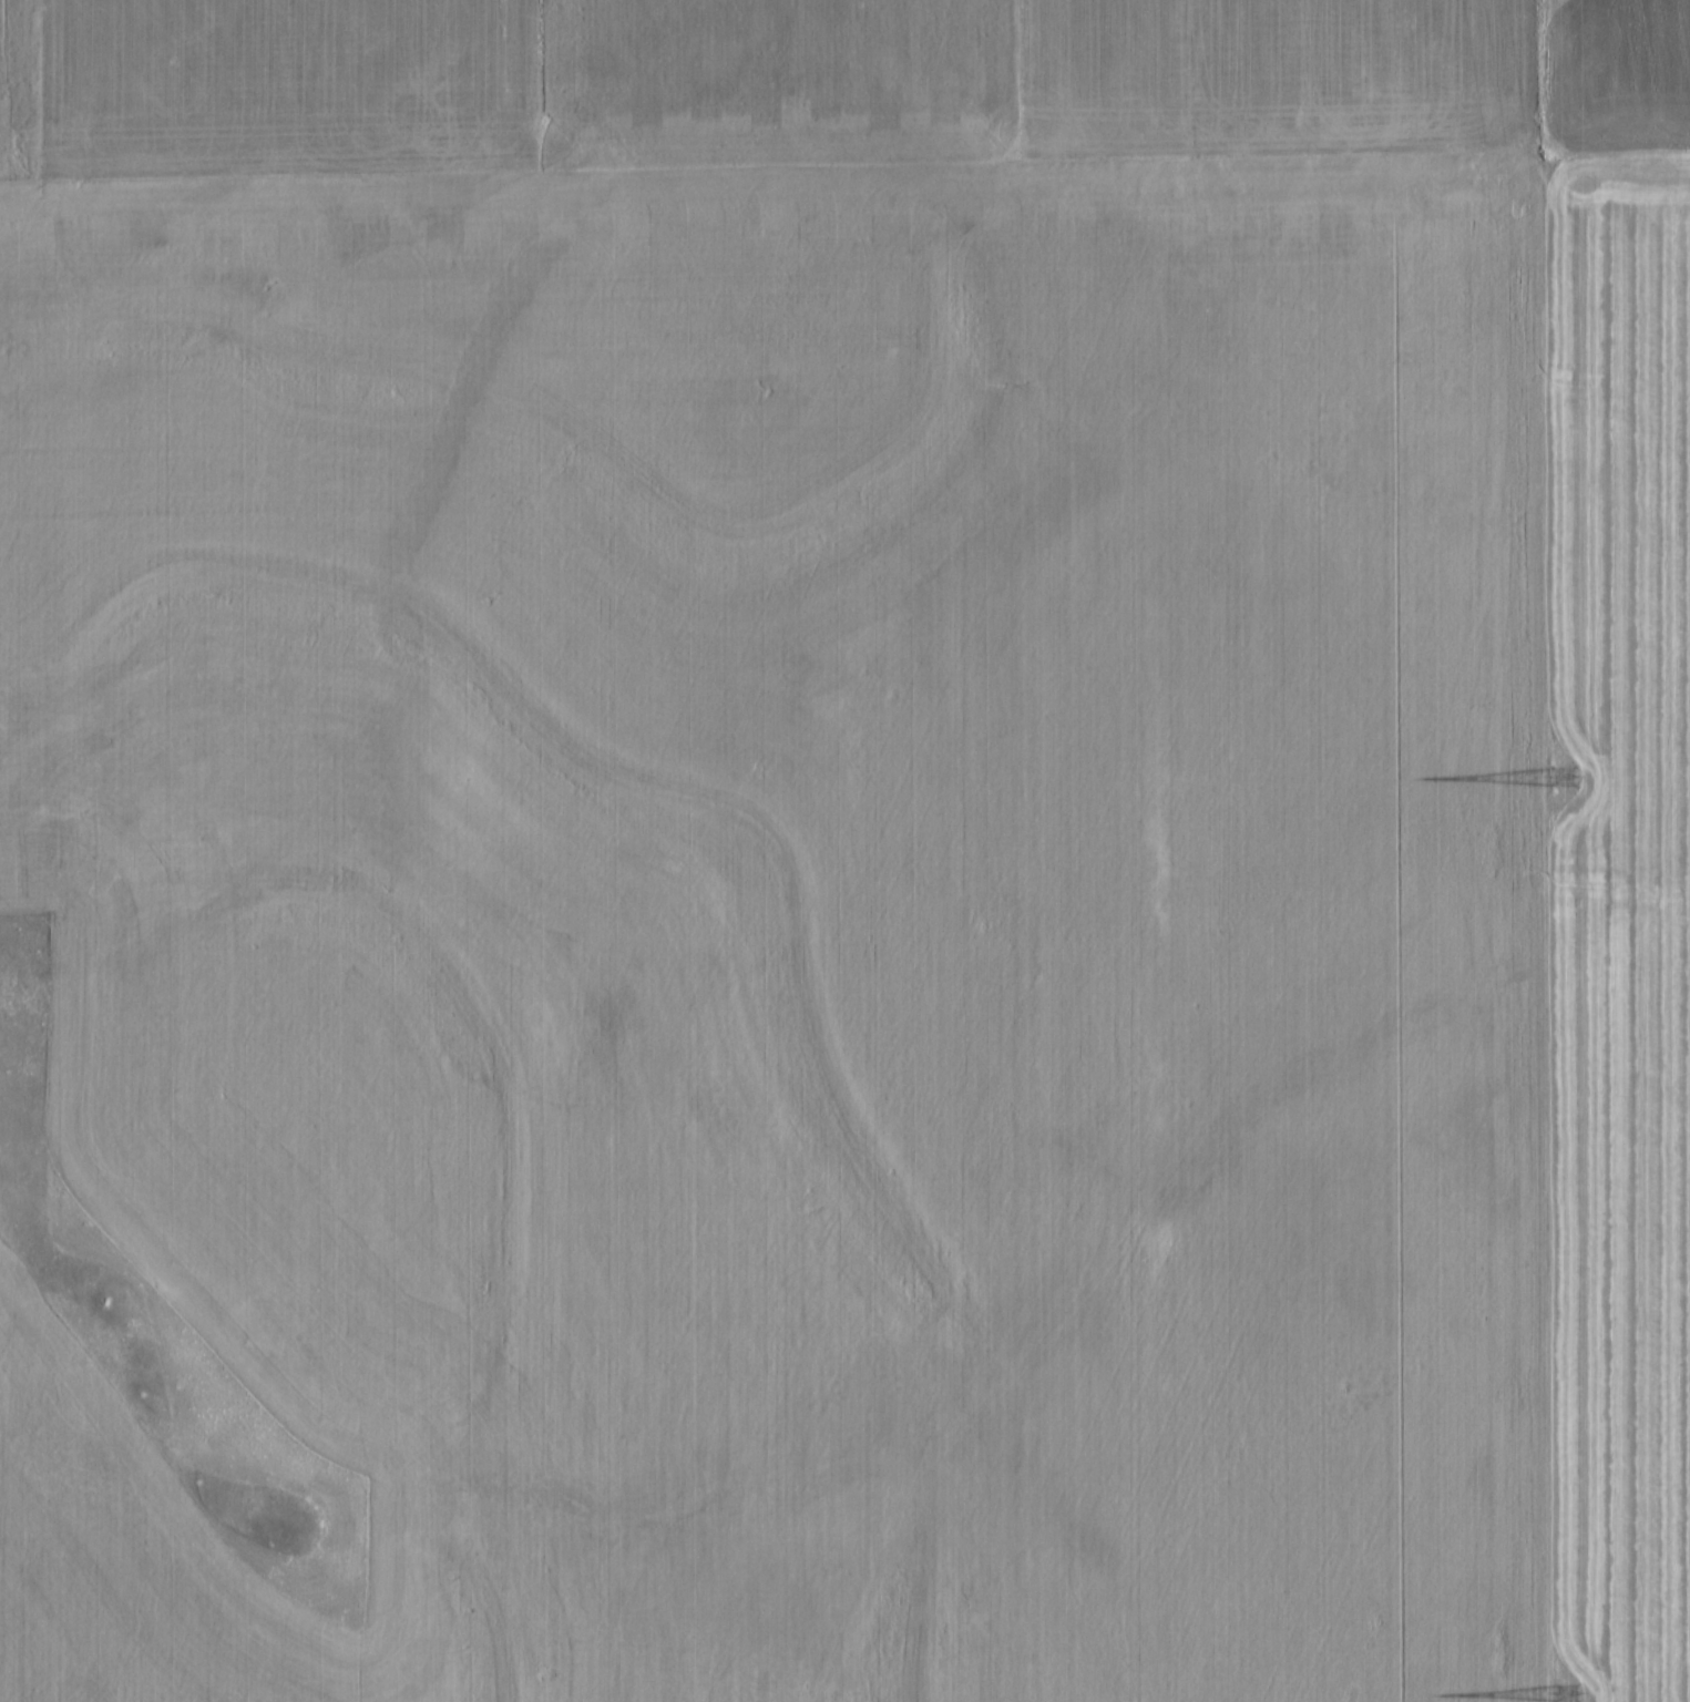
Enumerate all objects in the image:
power tower: (1557, 777)
power tower: (1561, 1690)

